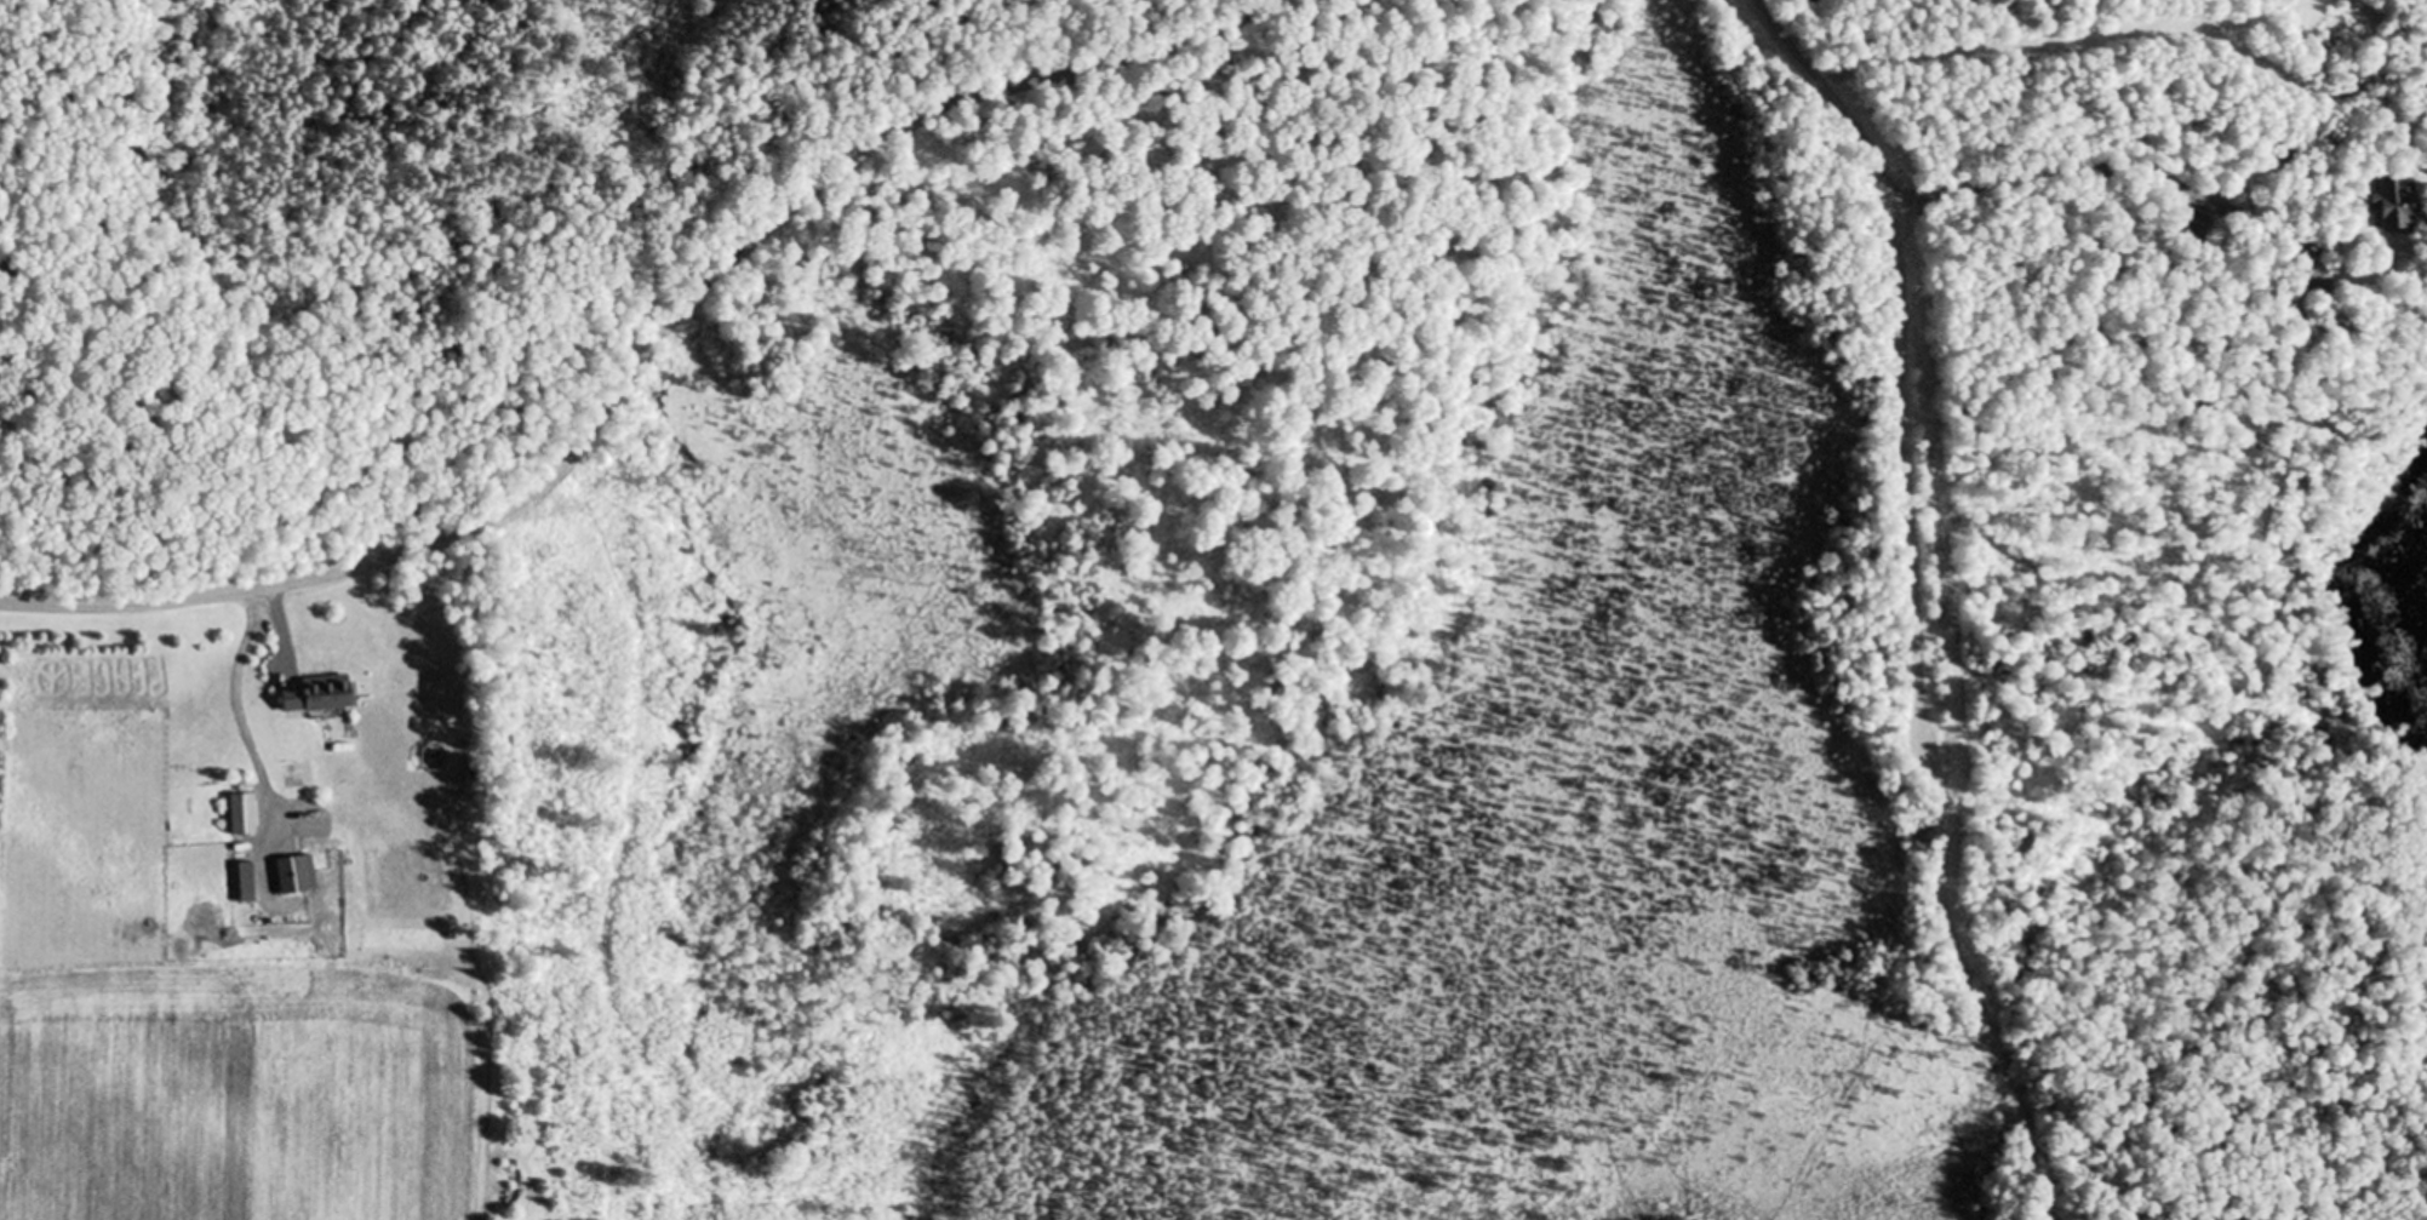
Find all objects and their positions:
building: (2388, 207)
building: (2187, 225)
road: (648, 344)
road: (1906, 476)
building: (320, 694)
building: (241, 813)
building: (297, 874)

